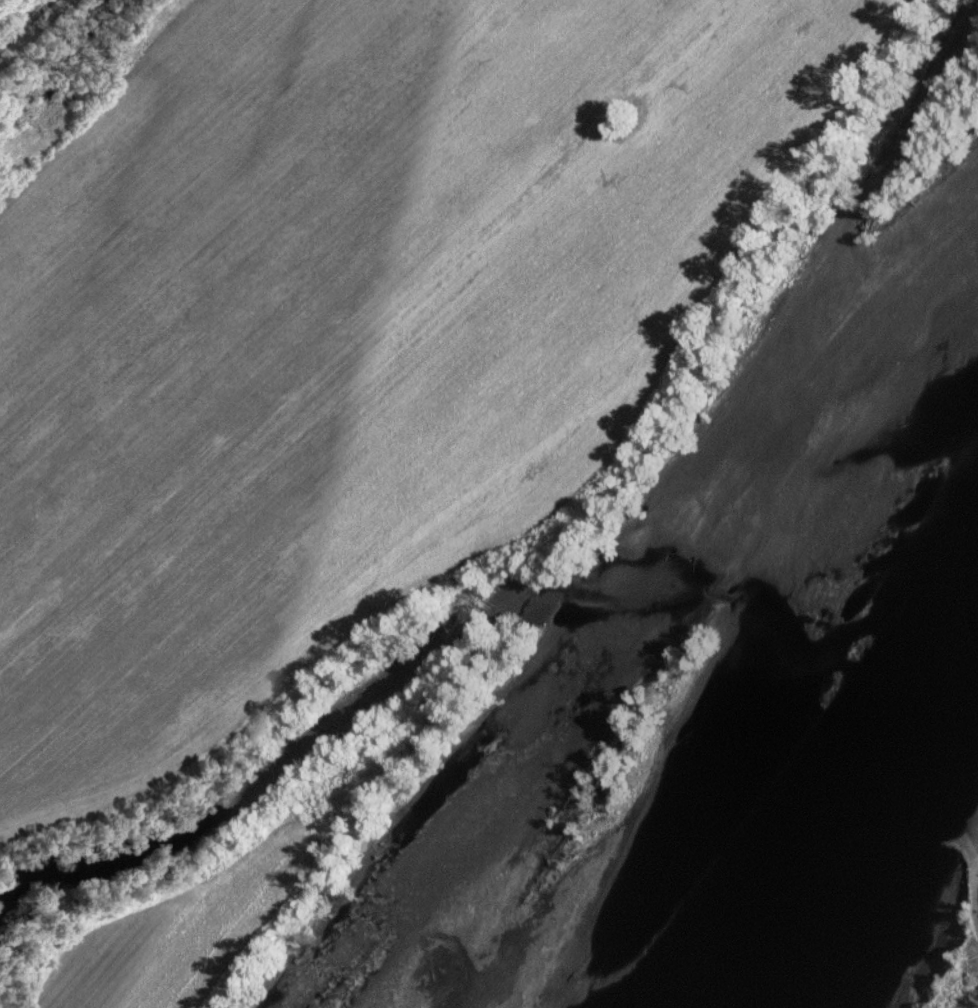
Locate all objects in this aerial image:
road: (29, 27)
crop: (348, 333)
river: (852, 826)

